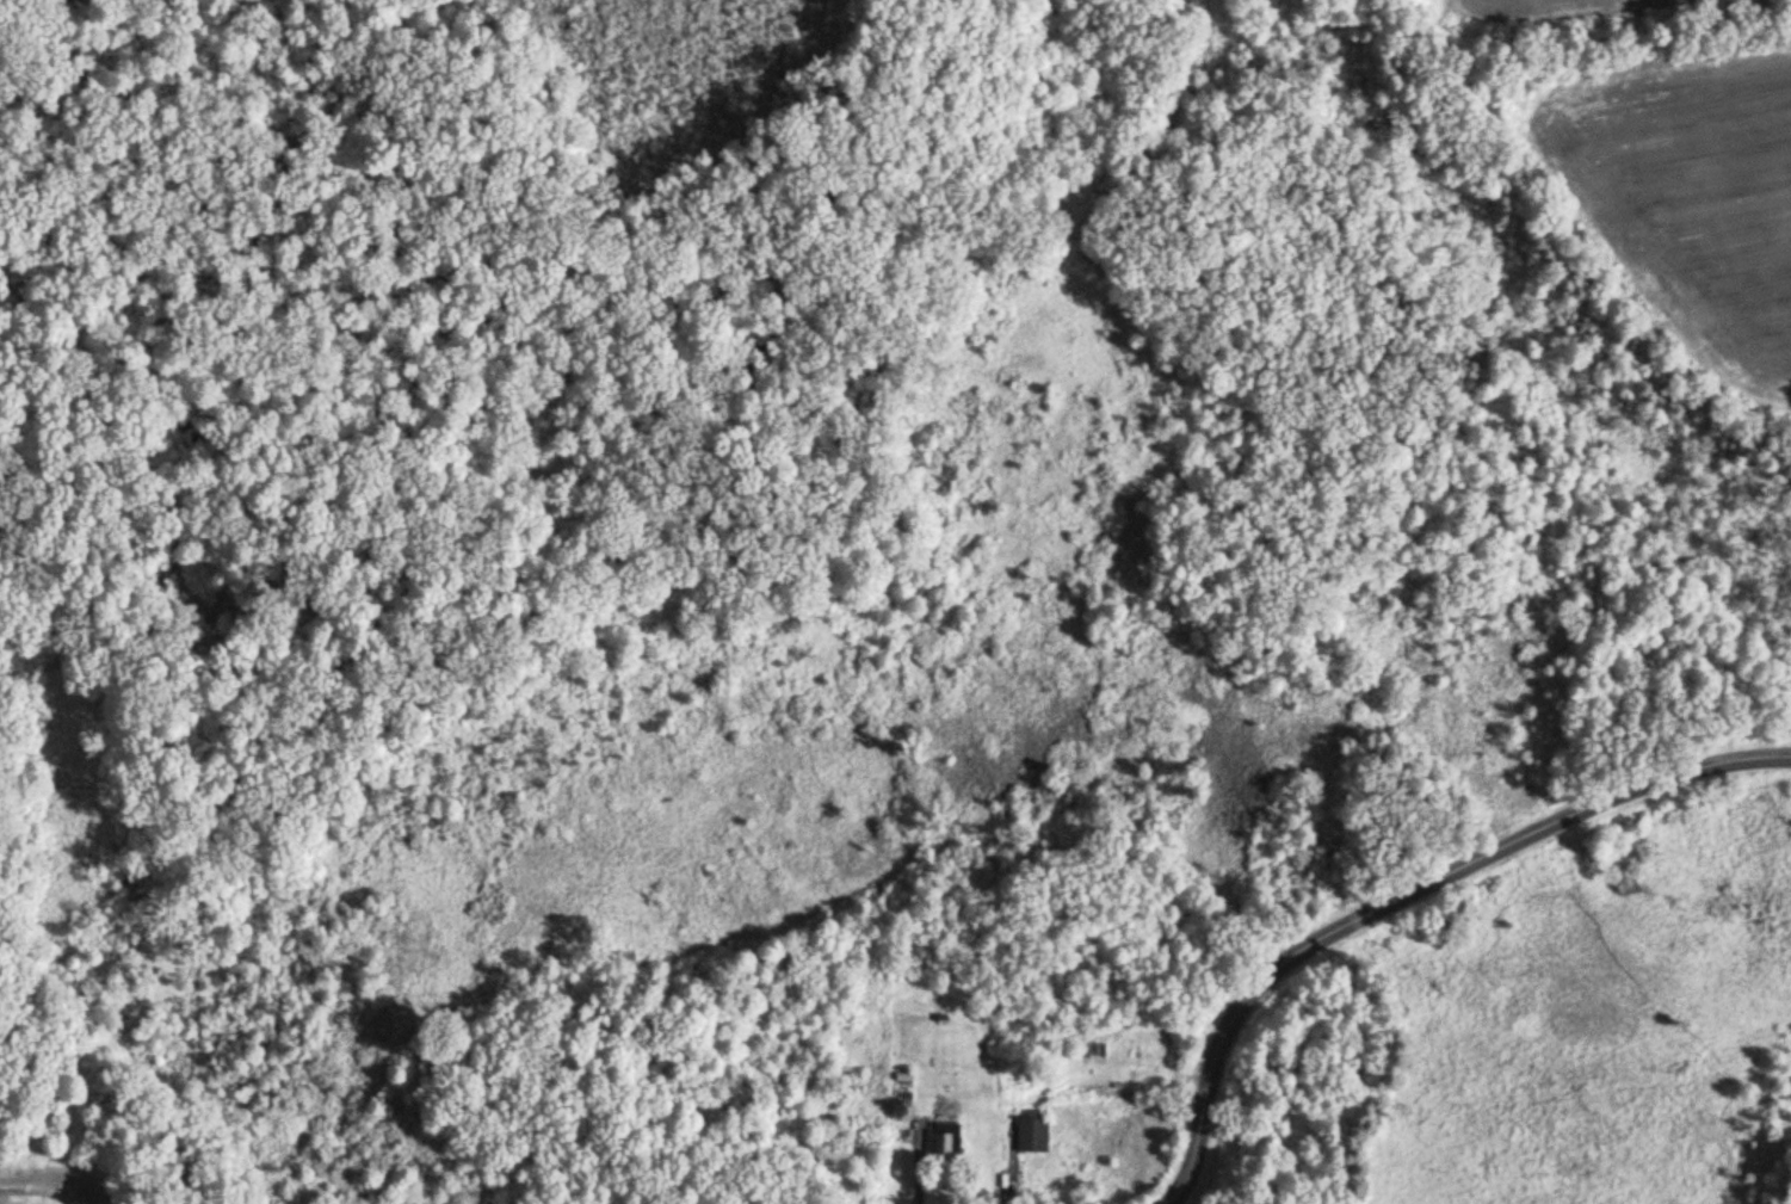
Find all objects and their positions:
road: (1403, 895)
building: (1032, 1136)
building: (947, 1142)

